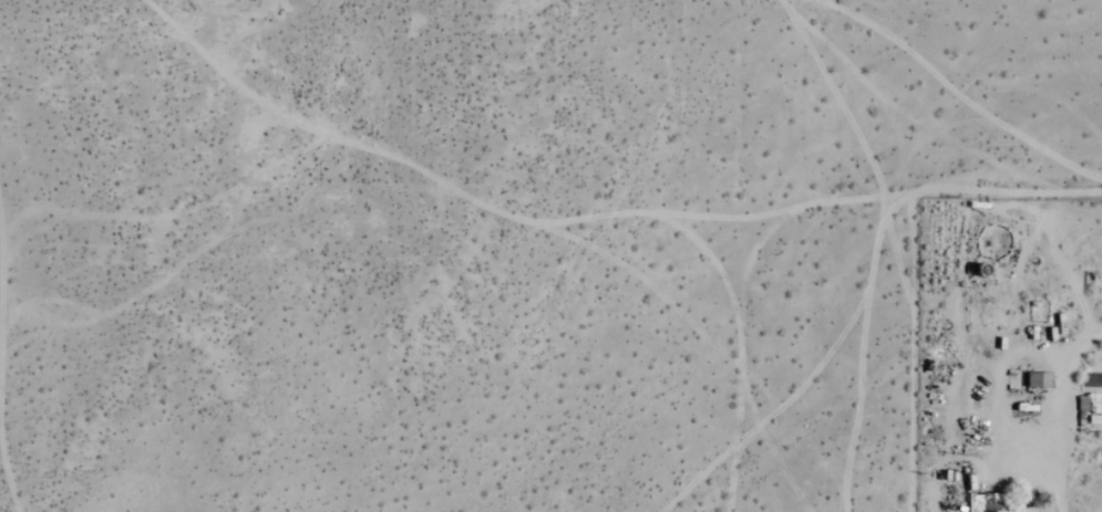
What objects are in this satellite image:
road: (912, 357)
building: (985, 503)

